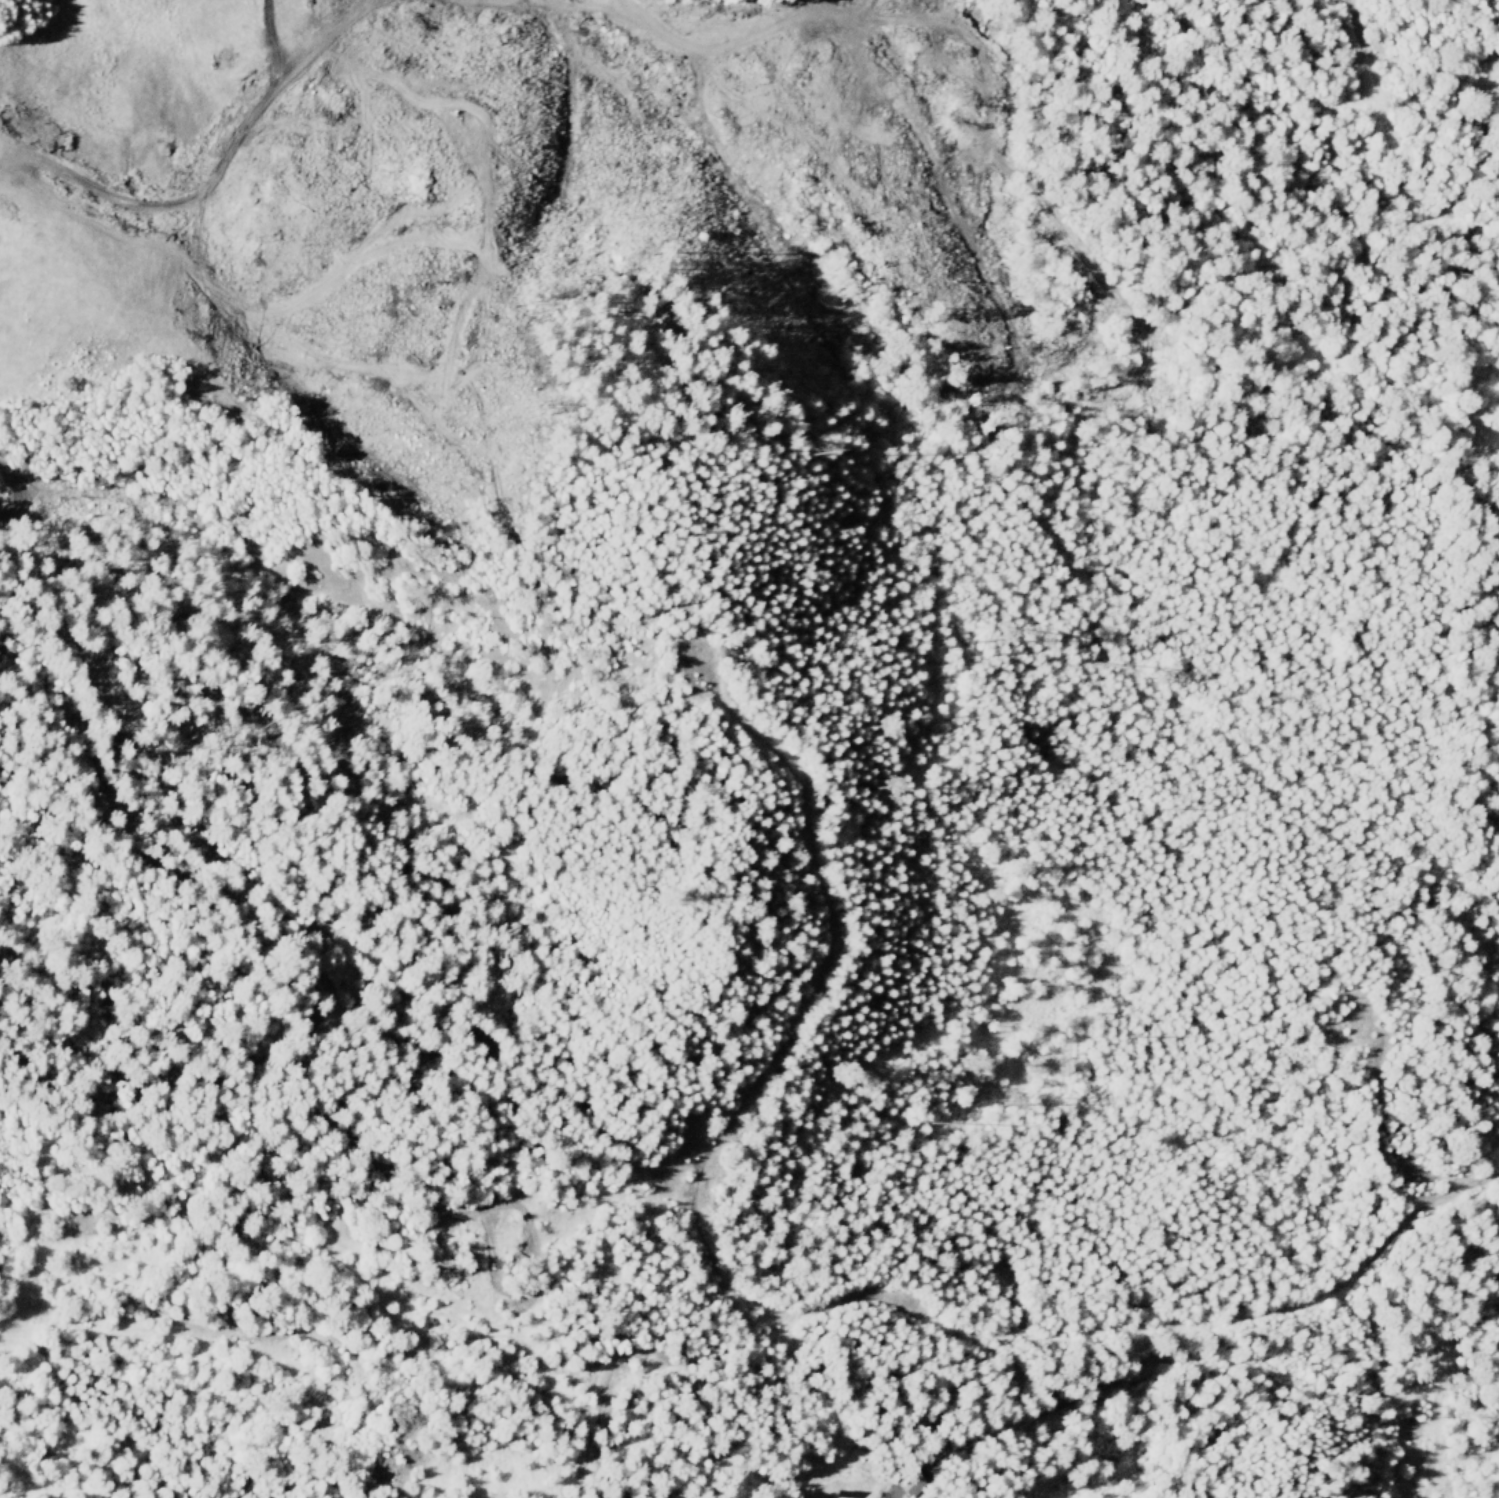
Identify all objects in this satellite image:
road: (782, 1315)

